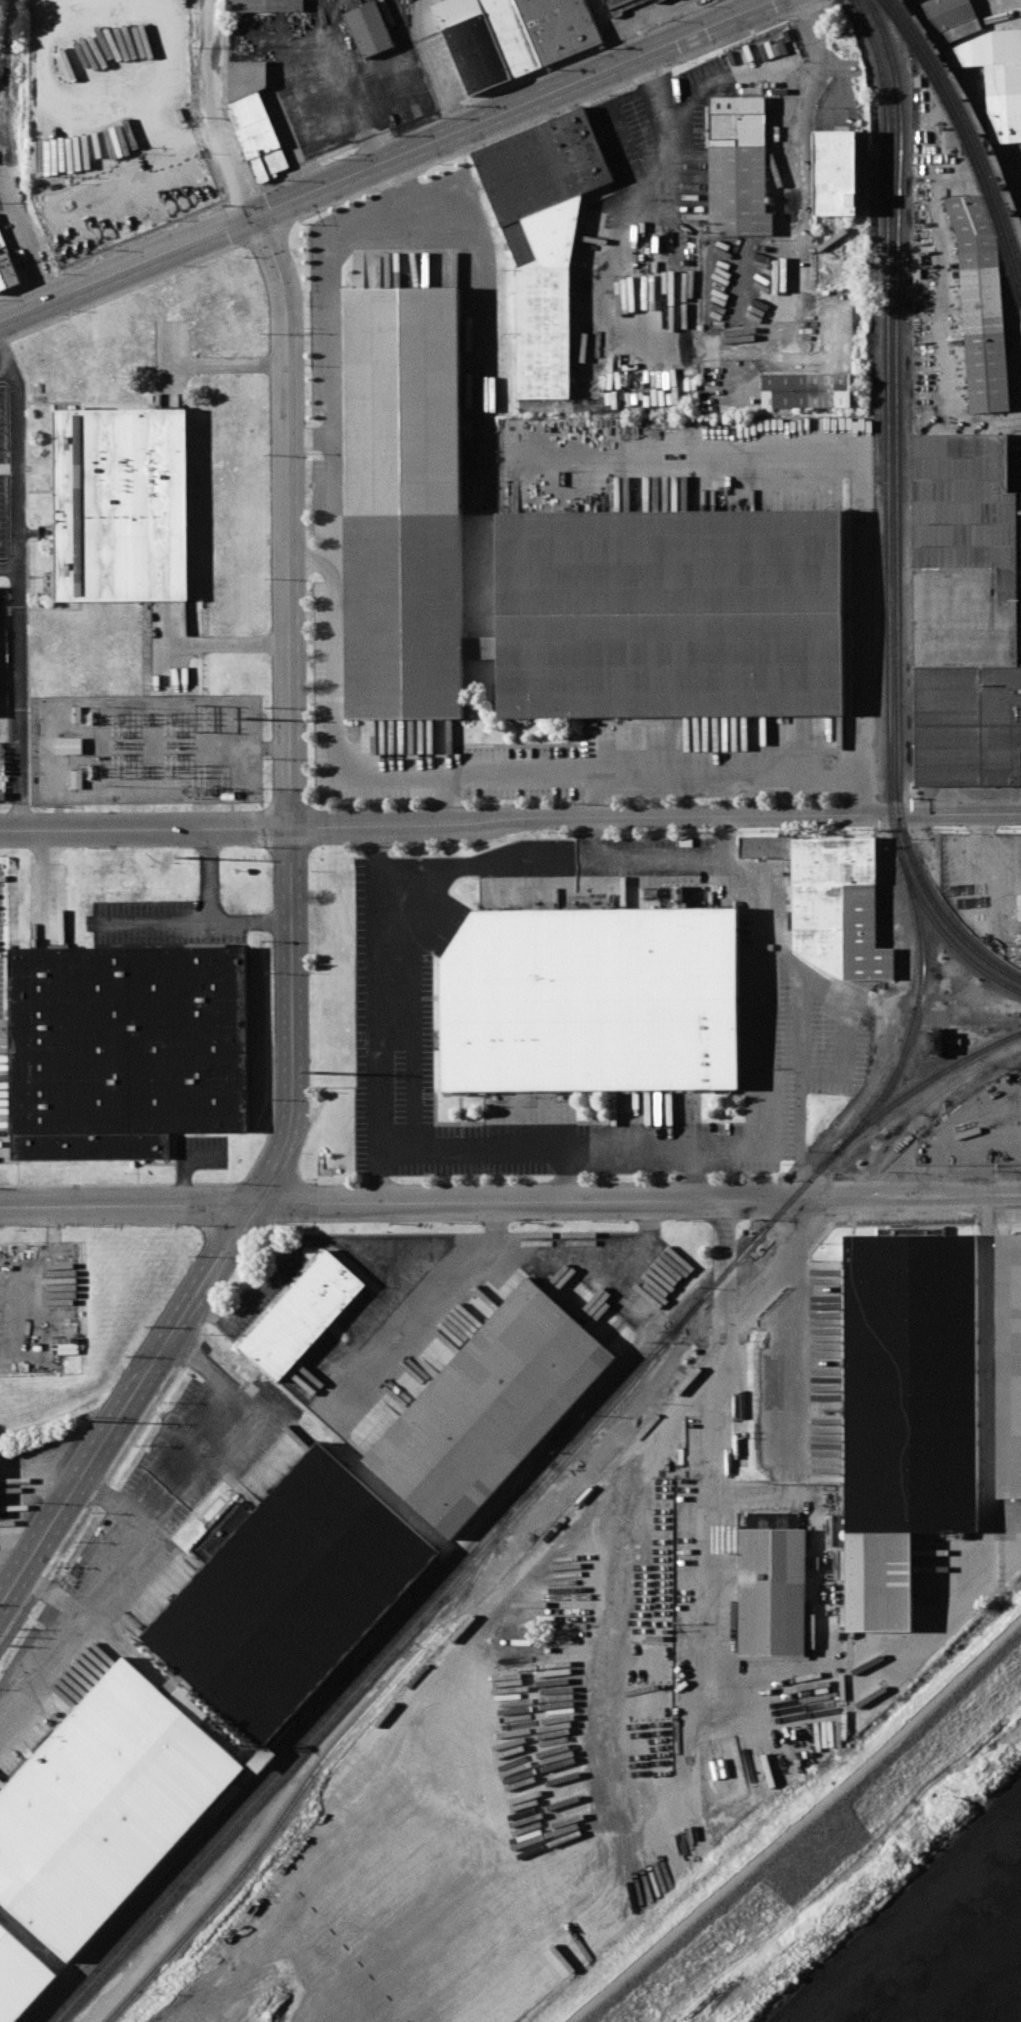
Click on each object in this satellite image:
building: (659, 1)
building: (620, 5)
building: (266, 6)
building: (950, 19)
building: (559, 26)
building: (370, 28)
road: (607, 32)
building: (512, 35)
building: (472, 43)
road: (5, 61)
road: (438, 66)
building: (997, 78)
road: (220, 111)
building: (254, 119)
railway: (970, 119)
road: (797, 124)
road: (619, 125)
railway: (966, 132)
road: (10, 153)
road: (389, 162)
building: (737, 168)
building: (835, 172)
road: (642, 198)
road: (404, 199)
road: (406, 211)
traffic signals: (259, 217)
building: (543, 236)
building: (7, 268)
road: (55, 272)
road: (39, 278)
road: (14, 288)
building: (981, 305)
building: (401, 324)
road: (226, 365)
railway: (886, 375)
railway: (895, 375)
building: (807, 389)
road: (310, 438)
parking lot: (3, 478)
building: (122, 504)
road: (311, 562)
road: (17, 580)
road: (333, 596)
building: (964, 615)
building: (669, 616)
building: (404, 618)
road: (227, 644)
road: (289, 650)
power tower: (201, 719)
power tower: (245, 719)
building: (68, 745)
power substation: (147, 748)
road: (751, 770)
power tower: (204, 792)
road: (446, 798)
road: (510, 822)
road: (726, 844)
road: (634, 867)
railway: (924, 888)
railway: (917, 896)
building: (661, 897)
building: (834, 902)
road: (210, 914)
road: (159, 923)
parking lot: (1, 952)
road: (376, 986)
building: (589, 1001)
railway: (915, 1014)
road: (758, 1030)
building: (935, 1042)
building: (126, 1049)
railway: (941, 1056)
power tower: (316, 1073)
railway: (923, 1084)
road: (534, 1148)
road: (567, 1175)
railway: (814, 1176)
road: (638, 1203)
road: (127, 1206)
road: (420, 1240)
railway: (745, 1250)
road: (425, 1311)
building: (302, 1314)
railway: (190, 1318)
road: (160, 1352)
building: (1009, 1364)
railway: (628, 1380)
railway: (634, 1386)
building: (486, 1409)
building: (907, 1411)
road: (206, 1420)
power tower: (87, 1422)
railway: (123, 1457)
road: (108, 1560)
road: (698, 1585)
building: (772, 1585)
building: (286, 1594)
road: (39, 1660)
railway: (302, 1740)
railway: (311, 1743)
building: (262, 1758)
railway: (311, 1777)
railway: (238, 1788)
building: (101, 1806)
road: (799, 1824)
road: (414, 1952)
river: (977, 1977)
building: (20, 1978)
building: (330, 1990)

